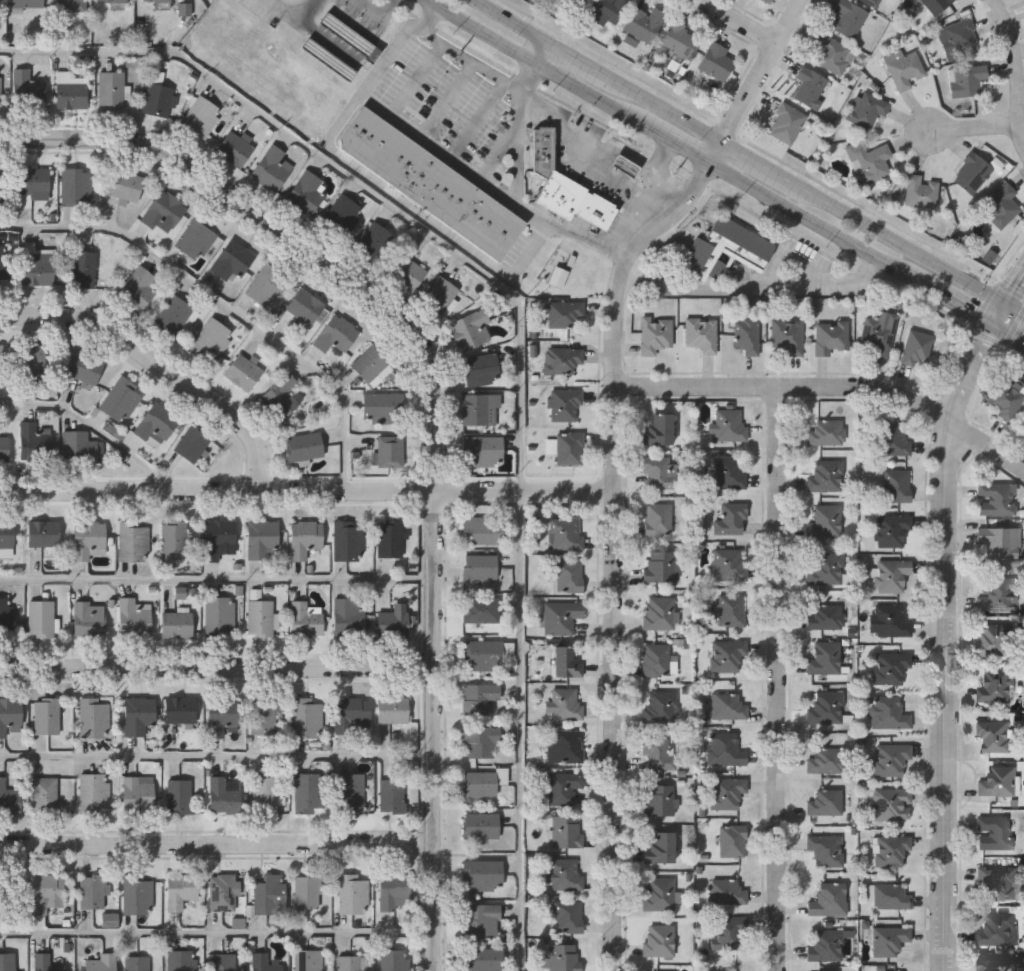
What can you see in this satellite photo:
building: (112, 0)
building: (158, 1)
building: (580, 1)
building: (769, 1)
building: (873, 1)
building: (0, 3)
building: (28, 3)
building: (937, 4)
building: (70, 5)
building: (186, 10)
road: (285, 10)
building: (606, 10)
road: (378, 11)
building: (849, 17)
road: (510, 22)
road: (742, 22)
building: (644, 23)
road: (316, 31)
building: (963, 37)
building: (350, 38)
building: (679, 39)
building: (833, 53)
road: (541, 54)
building: (329, 60)
road: (470, 60)
building: (715, 61)
road: (577, 62)
road: (535, 64)
road: (1019, 65)
building: (906, 69)
road: (764, 73)
road: (528, 77)
road: (418, 79)
building: (967, 79)
building: (811, 86)
building: (0, 87)
building: (27, 88)
building: (111, 89)
building: (70, 91)
road: (448, 99)
building: (157, 100)
building: (868, 110)
road: (664, 112)
building: (201, 116)
road: (479, 119)
building: (788, 122)
road: (977, 129)
road: (677, 141)
building: (234, 148)
road: (440, 149)
building: (543, 150)
road: (502, 151)
road: (715, 153)
building: (871, 160)
road: (577, 161)
road: (755, 163)
road: (519, 164)
building: (625, 164)
building: (273, 168)
building: (973, 171)
road: (656, 177)
road: (356, 181)
building: (430, 181)
building: (32, 184)
building: (126, 185)
building: (76, 186)
building: (3, 189)
building: (922, 190)
building: (306, 192)
building: (562, 193)
road: (400, 196)
building: (1003, 204)
building: (596, 209)
building: (164, 212)
building: (341, 214)
road: (812, 221)
road: (632, 225)
building: (197, 237)
road: (901, 239)
building: (373, 242)
building: (705, 253)
road: (624, 256)
building: (232, 261)
building: (38, 263)
building: (4, 264)
building: (83, 268)
building: (406, 274)
building: (559, 278)
building: (267, 285)
building: (137, 288)
road: (753, 289)
road: (1016, 292)
building: (440, 294)
road: (957, 301)
road: (227, 303)
traffic signals: (1009, 303)
building: (305, 305)
road: (1016, 308)
road: (1003, 312)
building: (565, 314)
building: (176, 316)
traffic signals: (998, 322)
building: (471, 330)
road: (1011, 331)
building: (879, 333)
building: (654, 334)
building: (700, 335)
building: (336, 336)
building: (746, 336)
building: (787, 336)
building: (830, 336)
building: (211, 341)
building: (915, 347)
building: (561, 360)
building: (32, 361)
building: (1, 362)
building: (371, 362)
building: (85, 369)
road: (159, 369)
building: (479, 369)
building: (243, 372)
road: (830, 389)
building: (284, 395)
building: (121, 399)
building: (1004, 399)
building: (564, 404)
building: (381, 407)
building: (481, 409)
road: (437, 411)
building: (157, 422)
building: (729, 425)
road: (98, 427)
building: (658, 430)
building: (826, 433)
building: (893, 439)
building: (34, 440)
building: (192, 443)
building: (304, 445)
building: (80, 447)
building: (4, 448)
building: (568, 448)
building: (390, 450)
building: (484, 451)
building: (729, 472)
building: (659, 473)
building: (825, 476)
building: (896, 485)
road: (218, 494)
road: (526, 494)
building: (996, 498)
building: (731, 519)
building: (658, 520)
building: (826, 520)
building: (484, 529)
building: (891, 530)
building: (565, 532)
building: (44, 533)
building: (6, 534)
building: (218, 536)
building: (305, 537)
building: (262, 538)
building: (389, 538)
building: (173, 539)
building: (90, 540)
building: (135, 540)
building: (348, 540)
building: (999, 541)
road: (615, 550)
building: (729, 564)
building: (480, 566)
building: (658, 566)
building: (825, 569)
building: (892, 575)
building: (567, 576)
road: (218, 578)
building: (996, 593)
building: (256, 595)
building: (480, 609)
building: (730, 610)
building: (658, 613)
building: (6, 614)
building: (220, 614)
building: (134, 616)
building: (560, 616)
building: (349, 617)
building: (825, 617)
building: (41, 618)
building: (90, 618)
building: (260, 618)
building: (306, 620)
building: (890, 621)
building: (177, 624)
building: (393, 624)
building: (994, 639)
road: (948, 641)
building: (486, 654)
building: (727, 655)
building: (824, 657)
building: (656, 659)
building: (565, 662)
building: (890, 667)
road: (218, 669)
road: (780, 679)
building: (995, 685)
building: (479, 697)
building: (566, 703)
building: (660, 706)
building: (728, 706)
building: (825, 707)
building: (180, 709)
building: (393, 710)
building: (353, 713)
building: (888, 713)
building: (47, 715)
building: (138, 715)
building: (11, 716)
building: (95, 716)
building: (223, 716)
building: (308, 716)
building: (263, 717)
road: (521, 733)
building: (994, 736)
building: (480, 741)
building: (567, 745)
building: (724, 749)
building: (657, 753)
road: (218, 755)
building: (890, 759)
building: (825, 760)
building: (997, 781)
building: (479, 783)
building: (563, 787)
building: (95, 791)
building: (138, 792)
building: (350, 792)
building: (727, 792)
building: (44, 793)
building: (307, 793)
building: (179, 795)
building: (264, 795)
building: (392, 795)
building: (223, 796)
building: (9, 798)
building: (658, 800)
building: (825, 802)
building: (891, 804)
building: (481, 825)
building: (566, 832)
building: (995, 832)
building: (732, 840)
road: (218, 847)
building: (659, 848)
building: (825, 850)
building: (889, 850)
building: (563, 874)
building: (482, 875)
building: (996, 881)
building: (180, 889)
building: (308, 889)
building: (93, 890)
building: (397, 891)
building: (224, 892)
building: (726, 892)
building: (48, 893)
building: (353, 893)
building: (9, 894)
building: (137, 894)
building: (269, 894)
building: (657, 894)
building: (890, 896)
building: (828, 899)
building: (567, 916)
building: (481, 917)
building: (110, 919)
building: (997, 928)
road: (218, 933)
building: (726, 933)
building: (658, 940)
building: (888, 940)
building: (825, 945)
building: (564, 957)
building: (394, 959)
building: (483, 959)
building: (181, 960)
building: (309, 960)
building: (7, 961)
building: (99, 961)
building: (50, 962)
building: (222, 962)
building: (265, 962)
building: (349, 962)
building: (137, 963)
building: (993, 964)
building: (888, 970)

